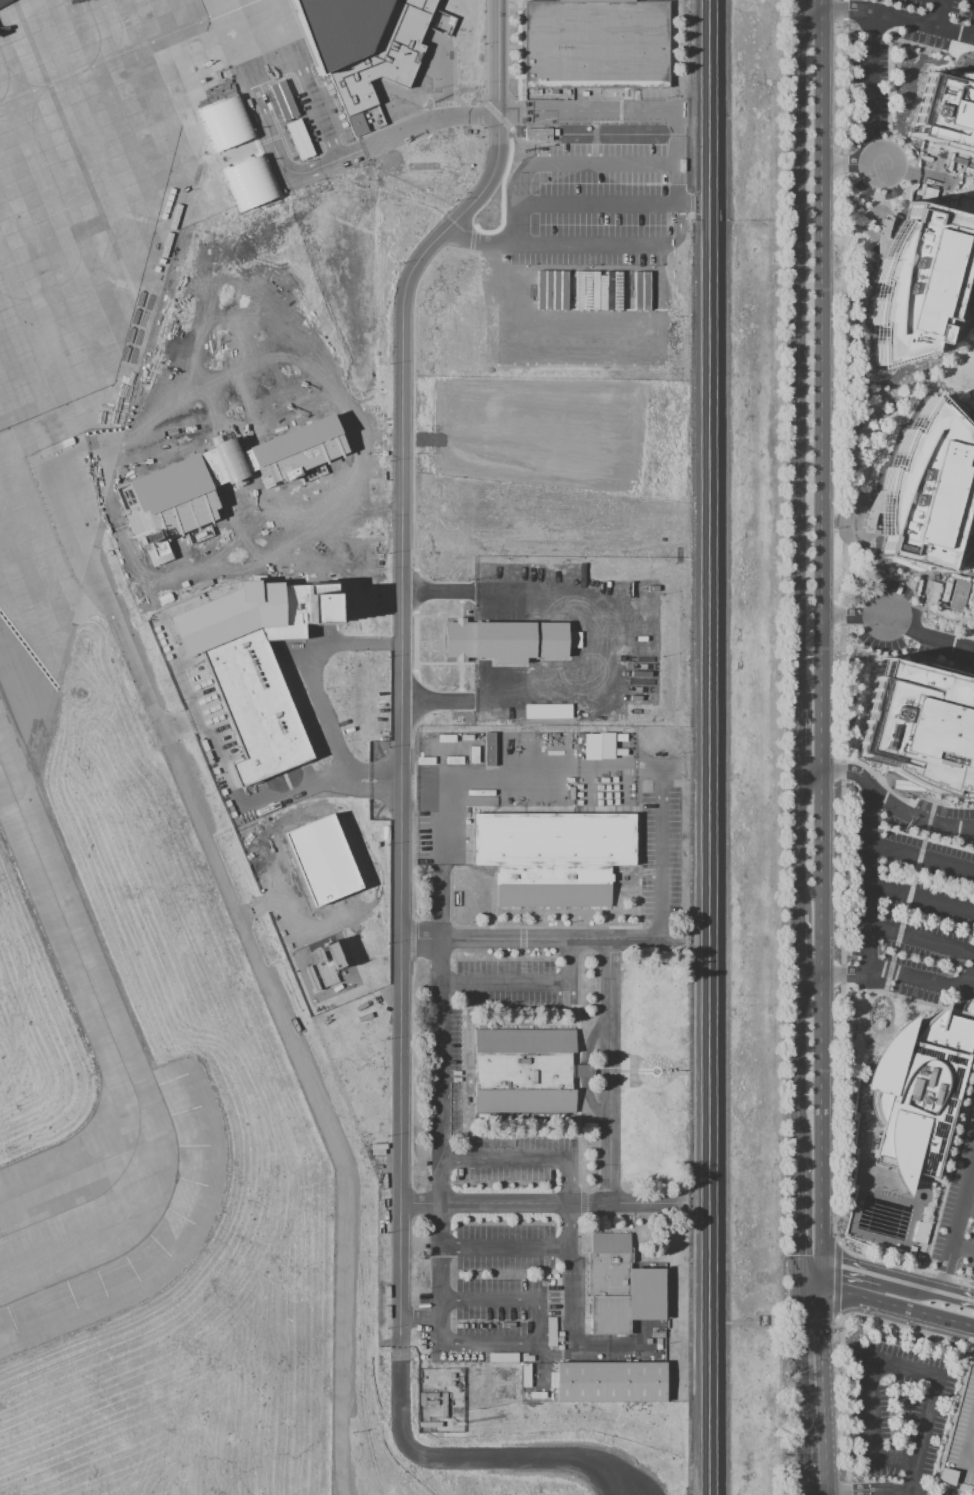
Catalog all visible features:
road: (797, 2)
road: (826, 3)
road: (811, 5)
road: (939, 13)
road: (900, 18)
building: (596, 44)
building: (361, 47)
road: (518, 50)
road: (486, 52)
parking lot: (892, 56)
road: (870, 90)
building: (282, 100)
road: (584, 109)
building: (945, 111)
road: (497, 115)
road: (426, 123)
building: (538, 134)
building: (298, 139)
road: (313, 147)
building: (237, 152)
road: (608, 163)
road: (891, 169)
road: (954, 185)
building: (928, 195)
road: (502, 197)
road: (523, 200)
road: (883, 201)
parking lot: (599, 204)
road: (601, 204)
building: (966, 206)
road: (869, 215)
road: (892, 215)
road: (854, 226)
road: (471, 238)
road: (483, 244)
road: (638, 244)
road: (474, 251)
airport apron: (88, 275)
building: (916, 283)
road: (960, 321)
road: (796, 387)
road: (825, 388)
road: (903, 396)
road: (412, 441)
road: (236, 460)
road: (971, 465)
road: (300, 471)
parking lot: (303, 471)
building: (924, 486)
road: (231, 488)
road: (280, 529)
road: (867, 534)
road: (871, 556)
road: (289, 560)
road: (900, 578)
road: (919, 588)
building: (945, 592)
building: (932, 593)
building: (604, 595)
building: (957, 595)
road: (843, 617)
road: (943, 617)
road: (841, 622)
road: (916, 634)
building: (503, 640)
road: (576, 641)
parking lot: (908, 643)
road: (400, 656)
road: (938, 662)
road: (973, 667)
building: (240, 672)
road: (325, 719)
building: (920, 727)
building: (467, 737)
building: (446, 738)
building: (459, 738)
building: (617, 738)
airport: (344, 746)
road: (711, 747)
building: (597, 748)
building: (489, 749)
building: (474, 755)
building: (455, 760)
building: (425, 761)
building: (517, 762)
road: (685, 767)
road: (810, 769)
road: (847, 771)
building: (413, 775)
road: (915, 816)
road: (796, 841)
road: (659, 853)
parking lot: (660, 854)
building: (552, 856)
road: (921, 857)
building: (319, 860)
road: (824, 873)
road: (868, 875)
parking lot: (907, 891)
road: (921, 897)
road: (439, 904)
road: (902, 920)
airport taxiway: (67, 921)
road: (555, 939)
road: (920, 939)
road: (797, 944)
building: (322, 965)
road: (846, 974)
road: (811, 976)
road: (916, 977)
road: (970, 977)
parking lot: (508, 984)
road: (526, 984)
road: (892, 998)
road: (923, 1002)
road: (867, 1007)
road: (863, 1023)
road: (797, 1066)
parking lot: (454, 1068)
building: (522, 1070)
road: (610, 1071)
building: (919, 1095)
road: (824, 1121)
road: (440, 1136)
parking lot: (517, 1158)
road: (973, 1167)
road: (948, 1170)
road: (441, 1180)
airport taxiway: (103, 1190)
road: (532, 1203)
parking lot: (959, 1204)
road: (968, 1209)
road: (798, 1212)
road: (957, 1227)
building: (921, 1233)
road: (837, 1242)
road: (506, 1247)
road: (963, 1248)
road: (811, 1266)
road: (903, 1266)
road: (852, 1270)
road: (571, 1274)
road: (836, 1278)
road: (441, 1280)
road: (823, 1280)
road: (800, 1281)
parking lot: (504, 1282)
building: (609, 1284)
road: (911, 1285)
road: (812, 1295)
road: (957, 1297)
road: (512, 1299)
road: (898, 1308)
road: (801, 1314)
road: (836, 1314)
road: (838, 1318)
road: (907, 1326)
building: (552, 1327)
road: (823, 1330)
road: (492, 1345)
building: (552, 1348)
road: (874, 1367)
building: (427, 1374)
building: (527, 1374)
building: (421, 1375)
road: (802, 1376)
building: (552, 1380)
building: (611, 1382)
building: (450, 1383)
building: (431, 1395)
building: (538, 1395)
building: (421, 1399)
building: (443, 1399)
building: (458, 1401)
building: (431, 1403)
road: (843, 1405)
building: (443, 1413)
parking lot: (897, 1416)
road: (972, 1424)
building: (430, 1425)
road: (827, 1430)
building: (959, 1438)
parking lot: (959, 1438)
road: (964, 1442)
road: (805, 1457)
road: (466, 1459)
road: (853, 1491)
road: (897, 1491)
road: (877, 1493)
road: (826, 1494)

